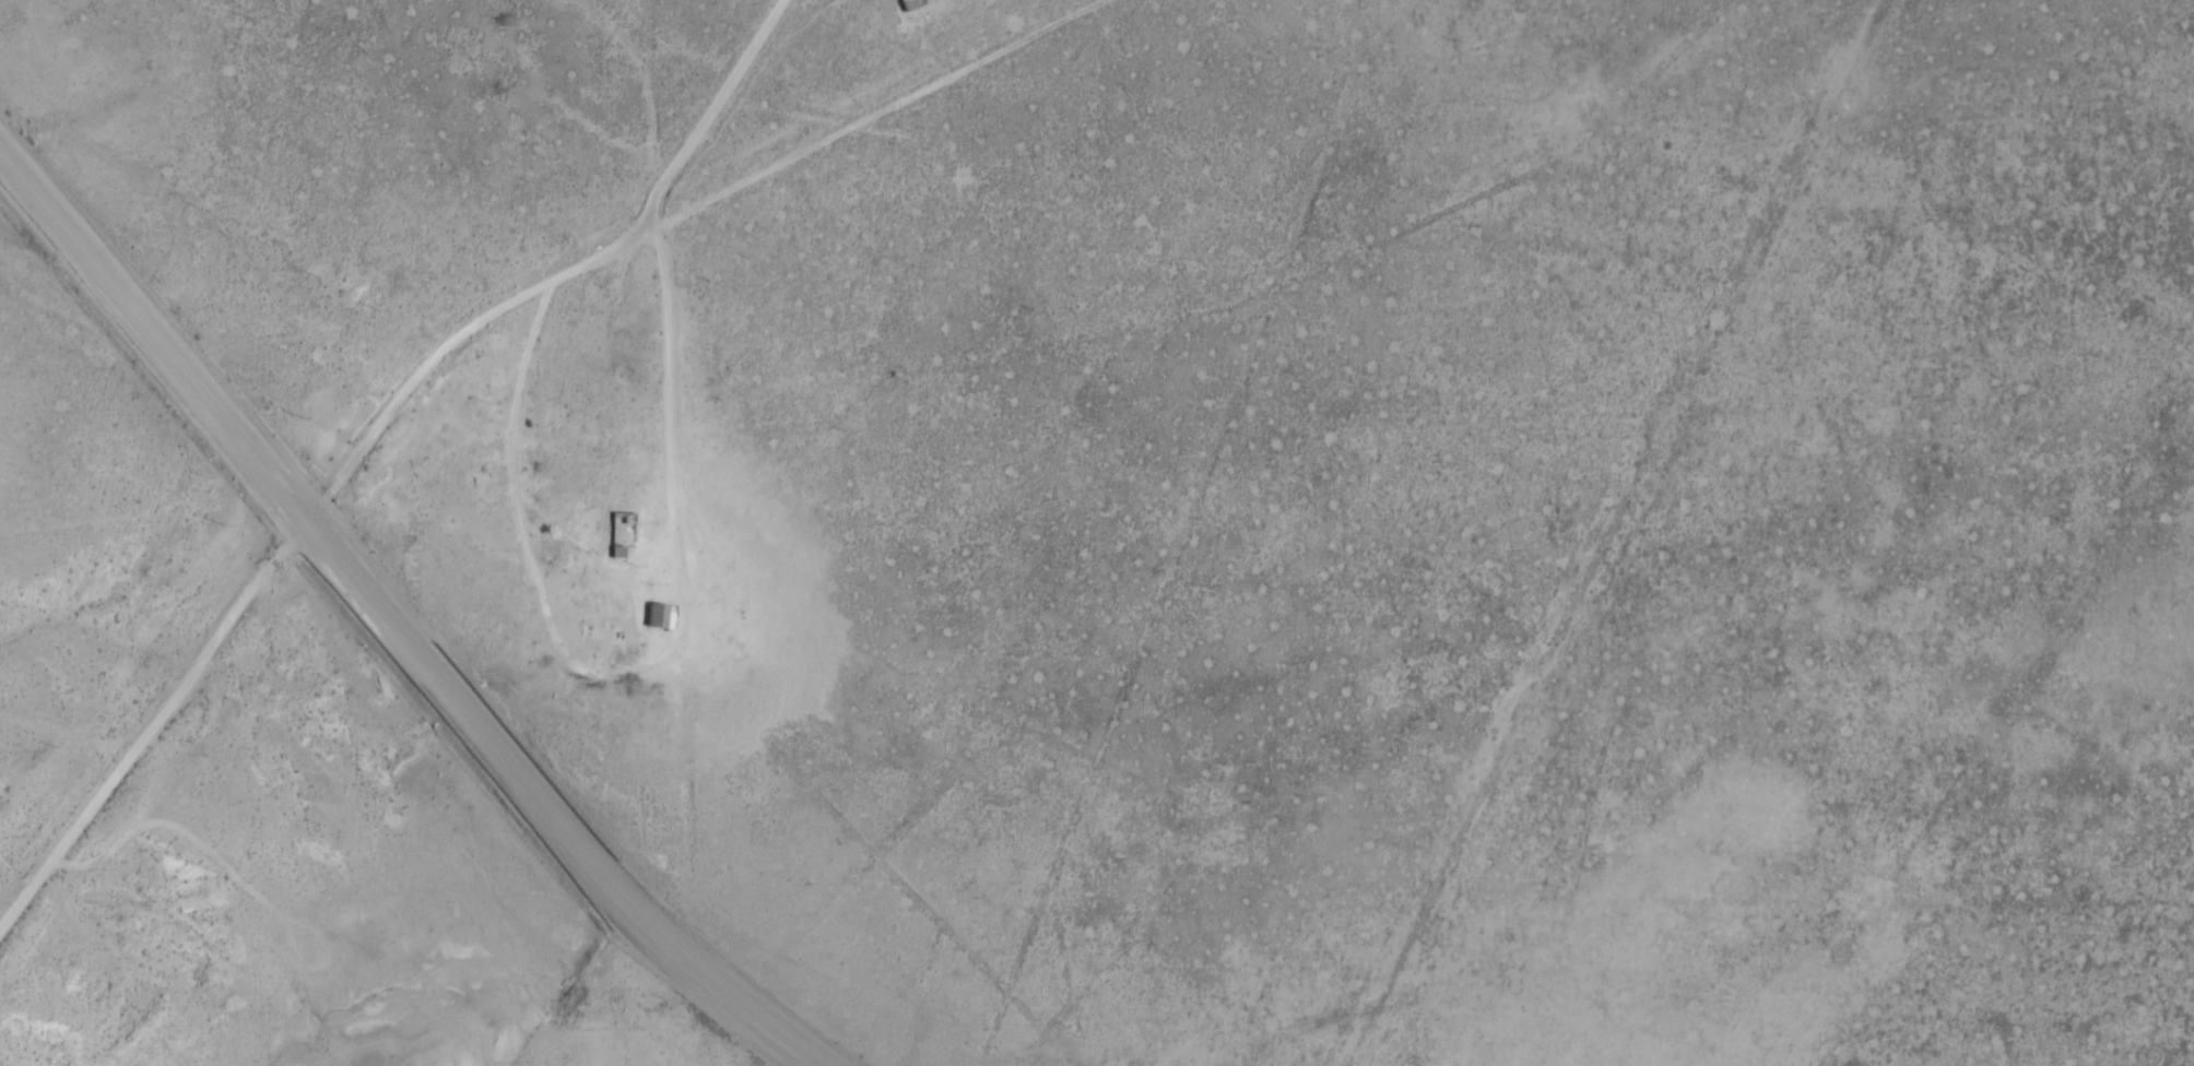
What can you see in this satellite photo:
building: (908, 4)
road: (46, 224)
road: (455, 342)
road: (667, 353)
building: (622, 529)
road: (1640, 533)
building: (659, 615)
road: (423, 668)
road: (62, 730)

